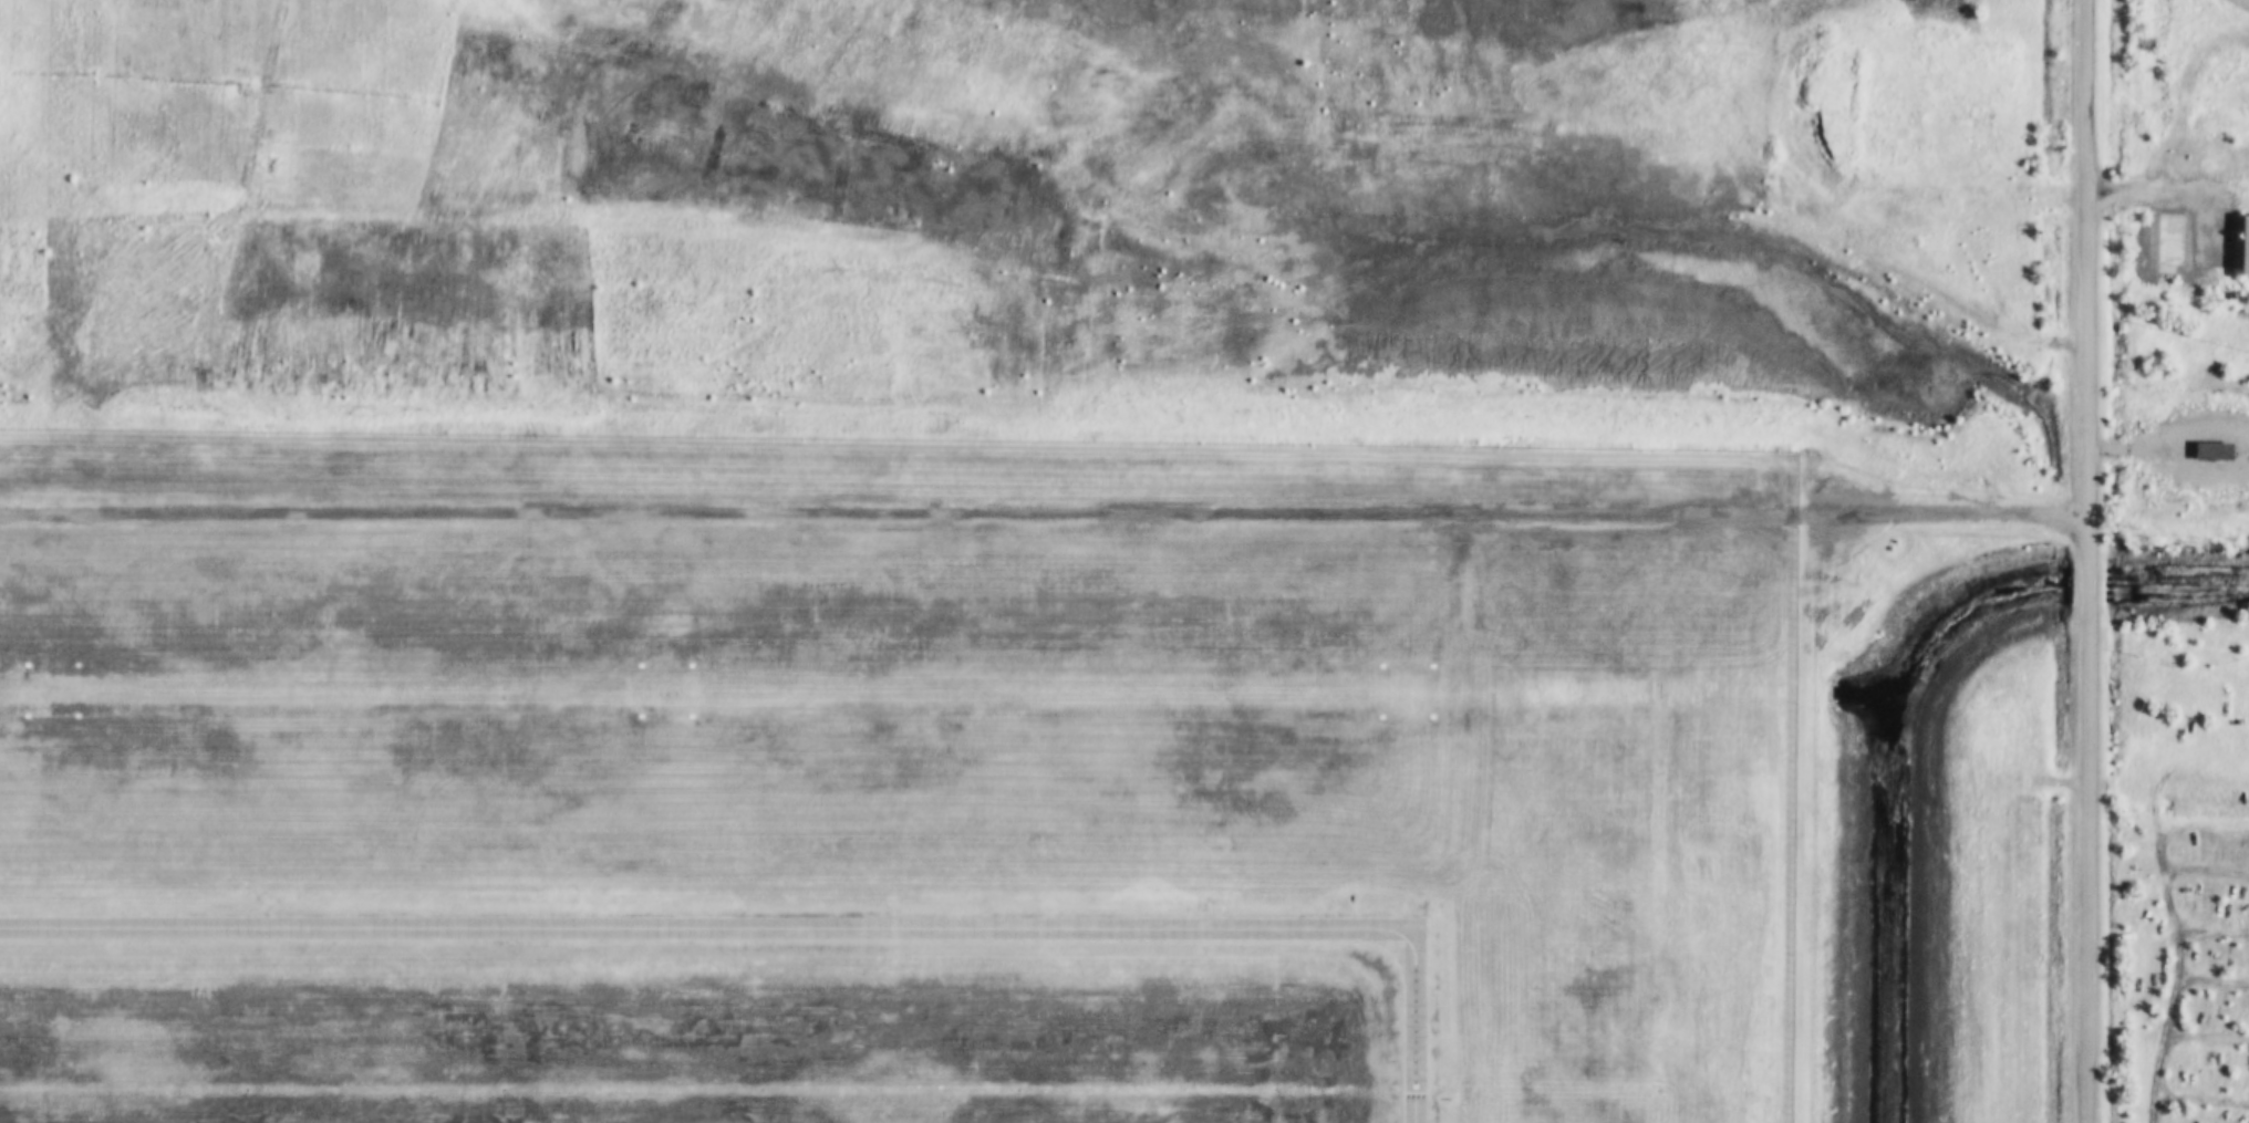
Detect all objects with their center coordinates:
road: (2091, 90)
road: (2169, 185)
building: (2176, 240)
building: (2246, 247)
road: (1041, 513)
airport: (955, 542)
road: (2086, 651)
airport taxiway: (708, 926)
airport taxiway: (1417, 1025)

